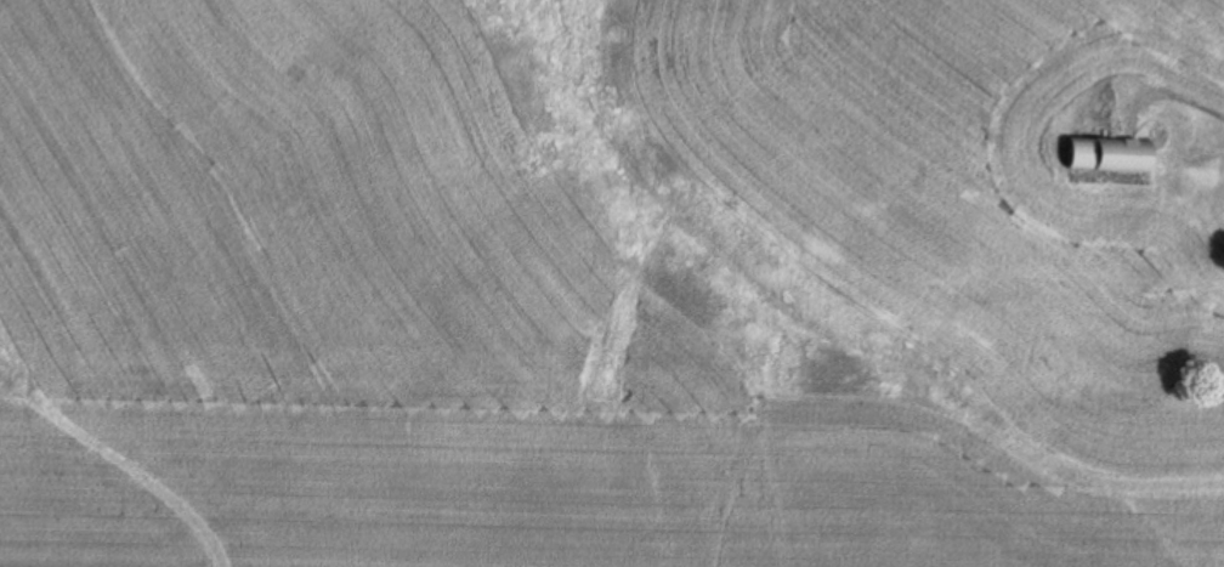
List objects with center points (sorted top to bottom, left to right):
road: (1172, 101)
building: (1100, 154)

